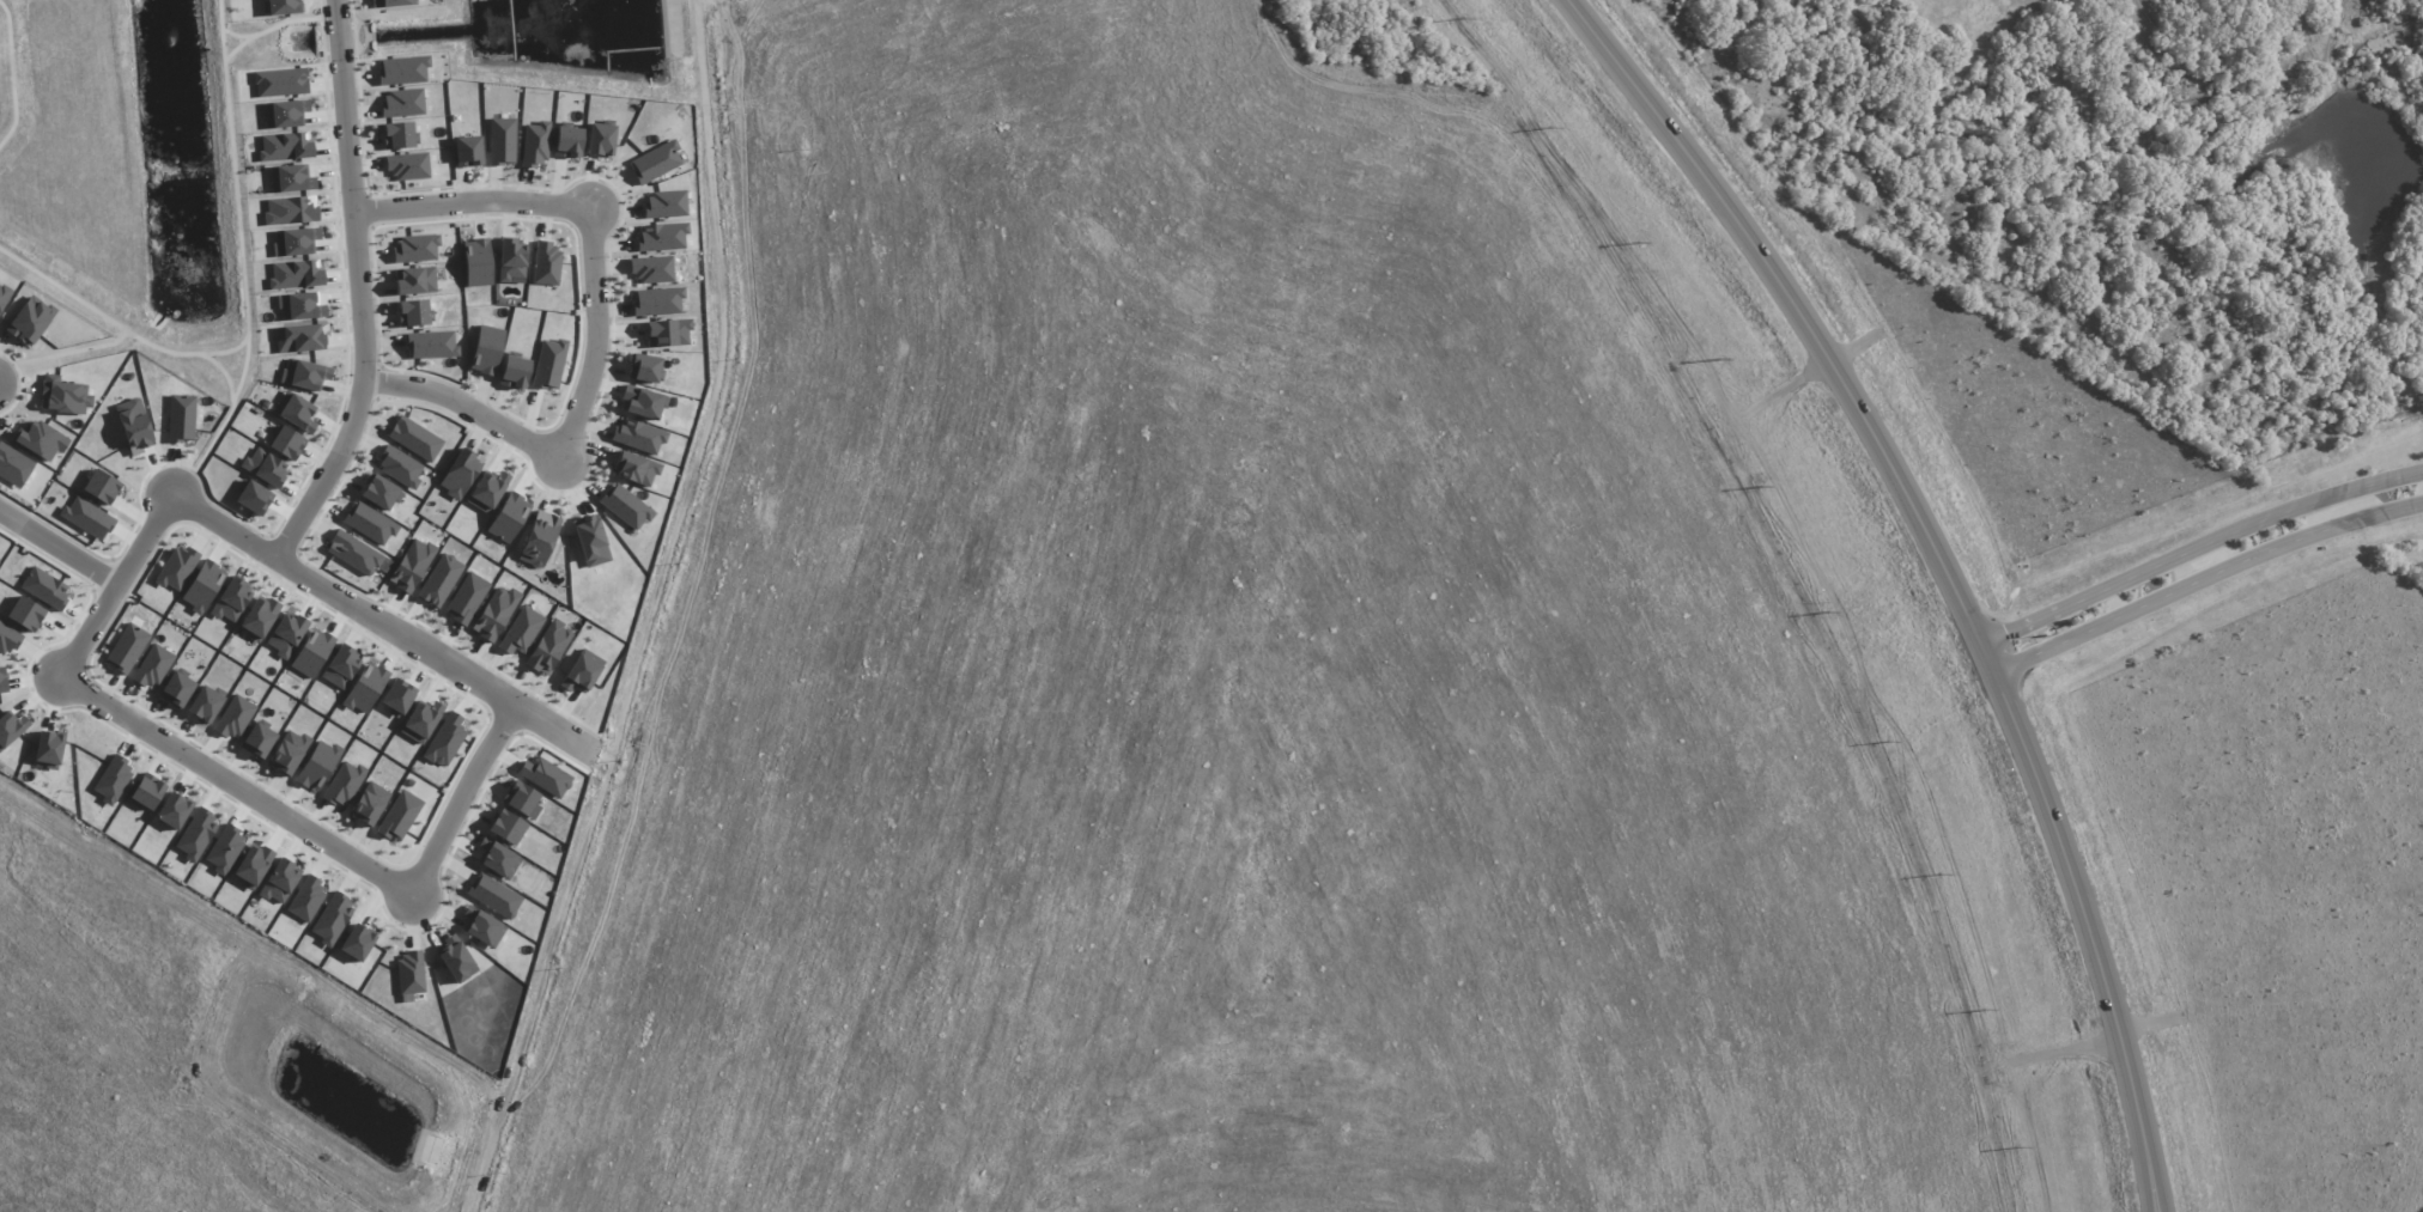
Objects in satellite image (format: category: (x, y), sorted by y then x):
building: (393, 2)
building: (283, 7)
road: (340, 55)
building: (403, 69)
building: (281, 81)
building: (402, 103)
building: (286, 112)
building: (400, 135)
building: (601, 139)
building: (502, 141)
building: (567, 142)
building: (535, 144)
building: (285, 146)
building: (468, 151)
building: (655, 162)
park: (129, 164)
building: (408, 166)
building: (291, 178)
building: (664, 205)
building: (291, 211)
building: (661, 236)
building: (294, 242)
building: (415, 248)
building: (511, 260)
building: (476, 262)
building: (546, 263)
building: (651, 269)
building: (296, 274)
building: (415, 280)
building: (4, 296)
building: (656, 302)
building: (300, 306)
building: (414, 312)
building: (30, 321)
road: (600, 324)
building: (668, 333)
building: (300, 337)
building: (431, 345)
road: (365, 346)
building: (486, 349)
building: (548, 364)
building: (645, 369)
building: (514, 372)
building: (304, 374)
building: (63, 396)
building: (642, 402)
building: (296, 412)
building: (181, 418)
building: (134, 426)
building: (638, 436)
building: (415, 439)
building: (42, 440)
building: (287, 443)
building: (14, 465)
building: (399, 465)
building: (265, 467)
building: (636, 469)
building: (460, 474)
building: (102, 487)
building: (381, 492)
building: (487, 492)
building: (253, 498)
building: (625, 506)
building: (509, 517)
building: (87, 518)
building: (370, 523)
road: (2211, 538)
building: (539, 540)
building: (591, 541)
road: (60, 548)
building: (353, 553)
building: (412, 566)
building: (176, 567)
road: (1941, 568)
road: (2204, 575)
building: (439, 580)
building: (202, 586)
building: (45, 587)
building: (467, 598)
building: (231, 601)
building: (26, 614)
building: (496, 614)
building: (260, 617)
road: (387, 625)
building: (521, 631)
building: (286, 634)
road: (1994, 635)
building: (8, 639)
building: (127, 647)
building: (548, 647)
building: (312, 652)
building: (153, 666)
building: (341, 666)
building: (582, 671)
building: (2, 681)
building: (177, 688)
building: (365, 688)
building: (399, 696)
building: (205, 704)
building: (235, 717)
building: (421, 721)
building: (11, 729)
building: (445, 739)
building: (257, 741)
building: (49, 749)
building: (289, 751)
building: (317, 766)
building: (545, 775)
building: (113, 780)
building: (344, 784)
road: (242, 788)
building: (147, 791)
building: (520, 798)
building: (370, 803)
building: (174, 810)
building: (399, 816)
building: (506, 827)
building: (196, 834)
building: (225, 849)
building: (497, 858)
building: (253, 865)
building: (280, 882)
building: (493, 896)
building: (306, 900)
building: (332, 919)
building: (482, 927)
building: (357, 943)
building: (456, 958)
building: (409, 973)

